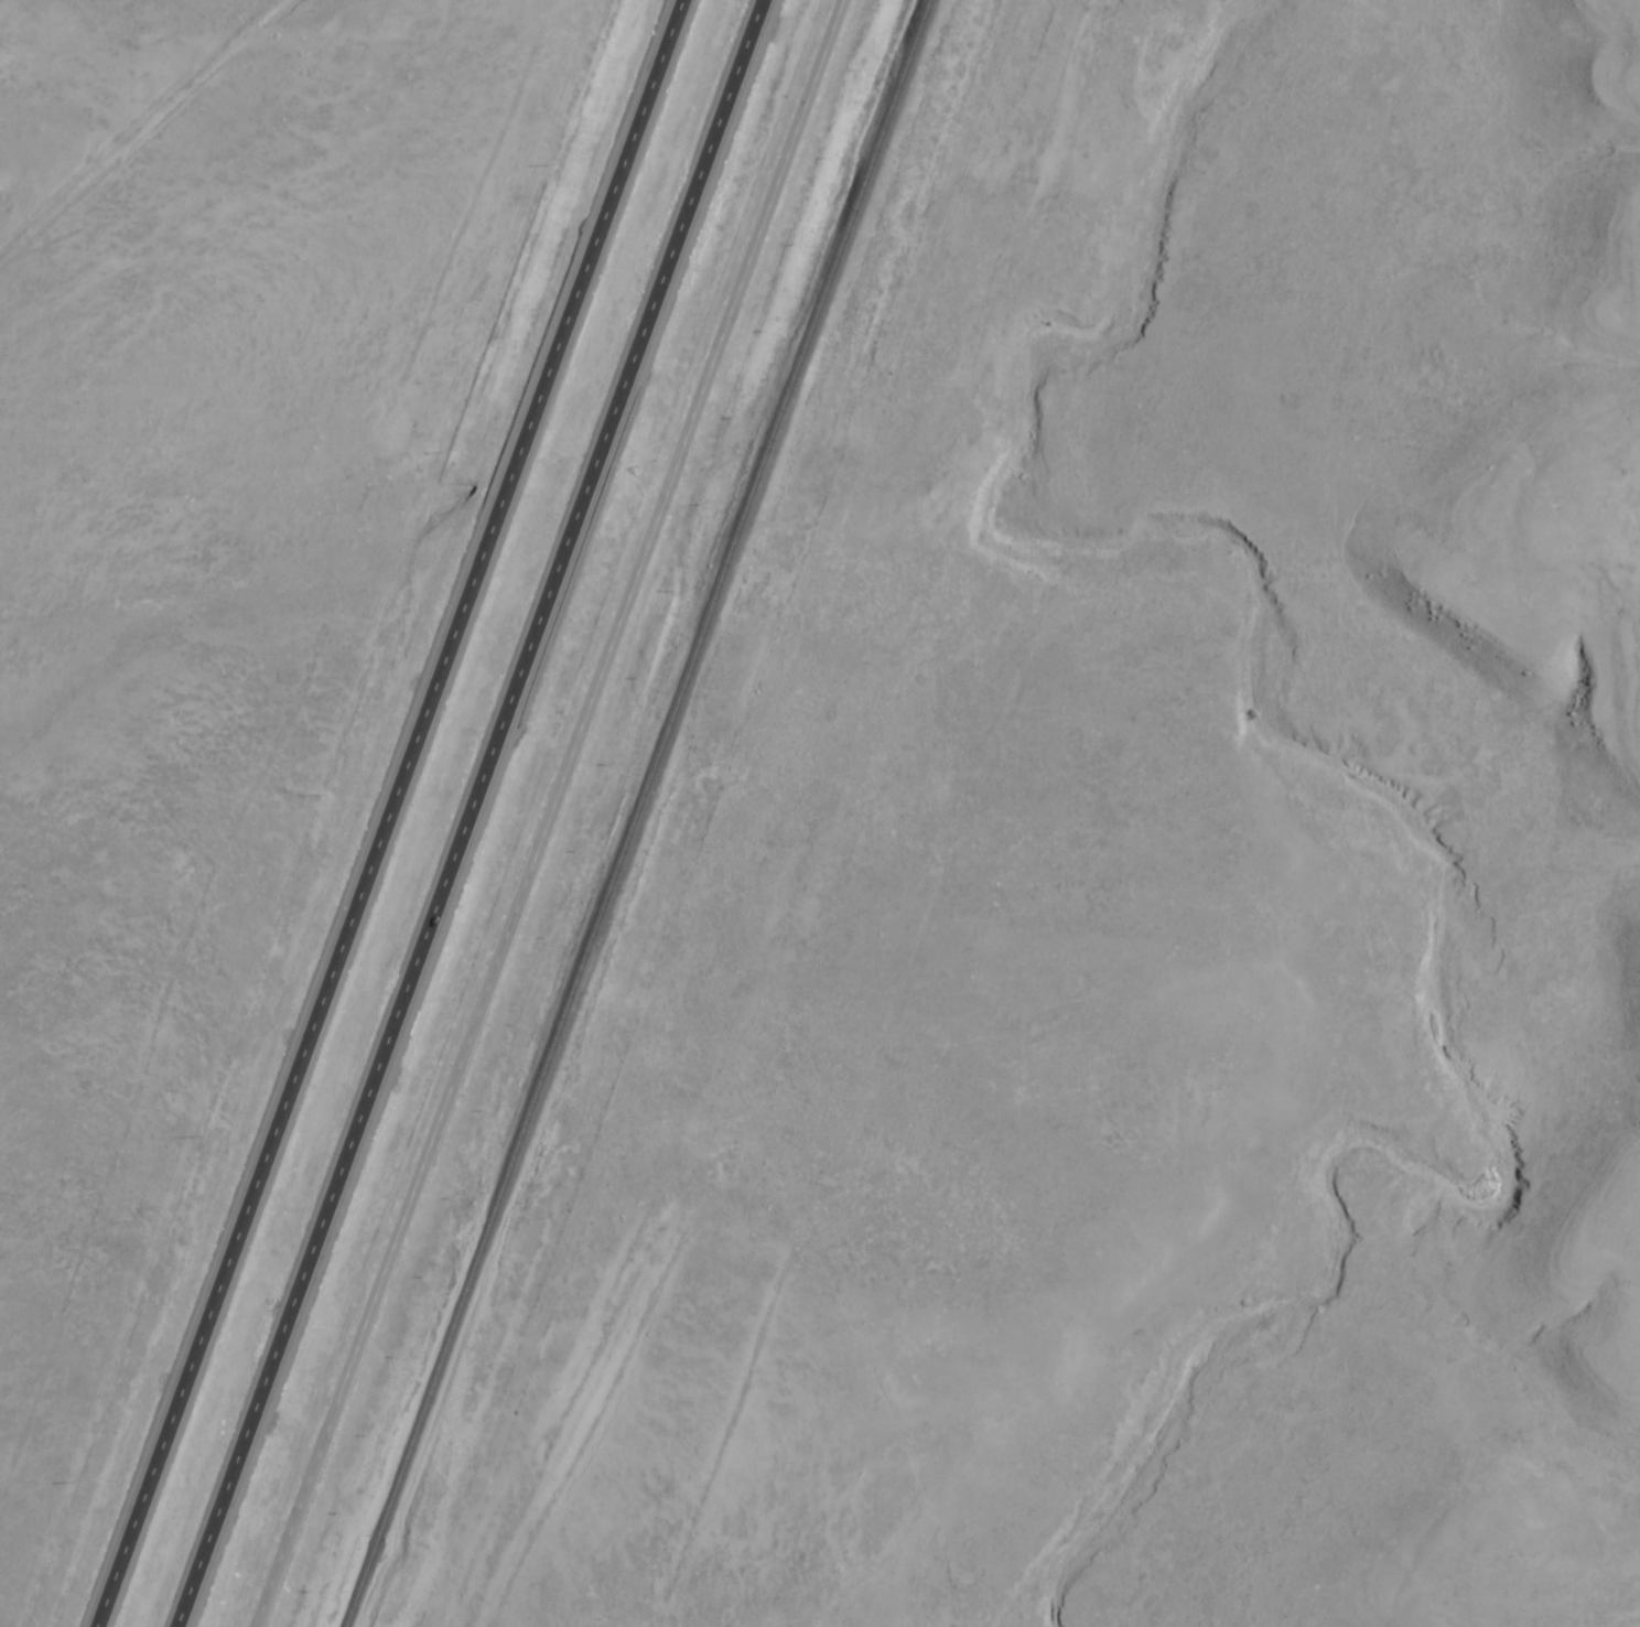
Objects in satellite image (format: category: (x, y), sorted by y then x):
road: (139, 143)
road: (517, 804)
road: (388, 812)
road: (472, 812)
railway: (636, 813)

